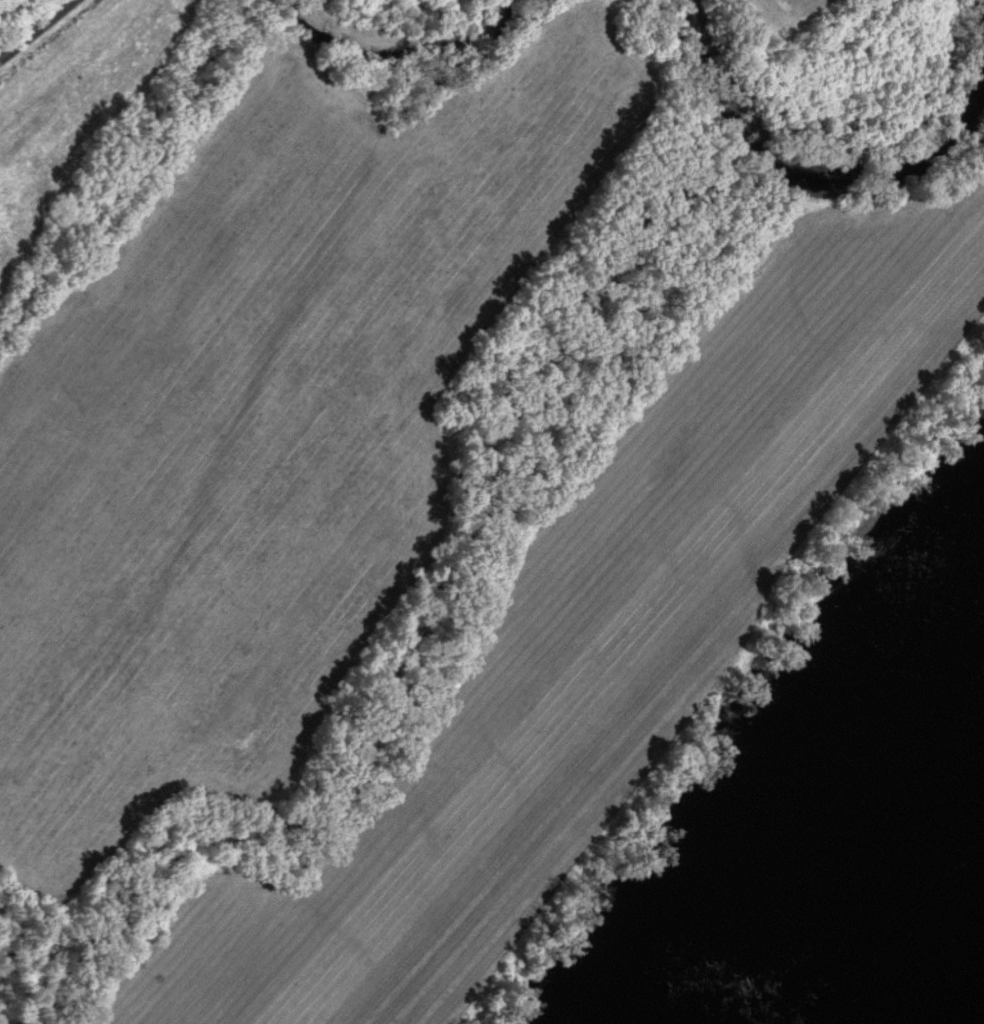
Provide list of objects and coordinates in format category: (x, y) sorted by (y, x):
crop: (784, 17)
road: (34, 29)
river: (933, 979)

